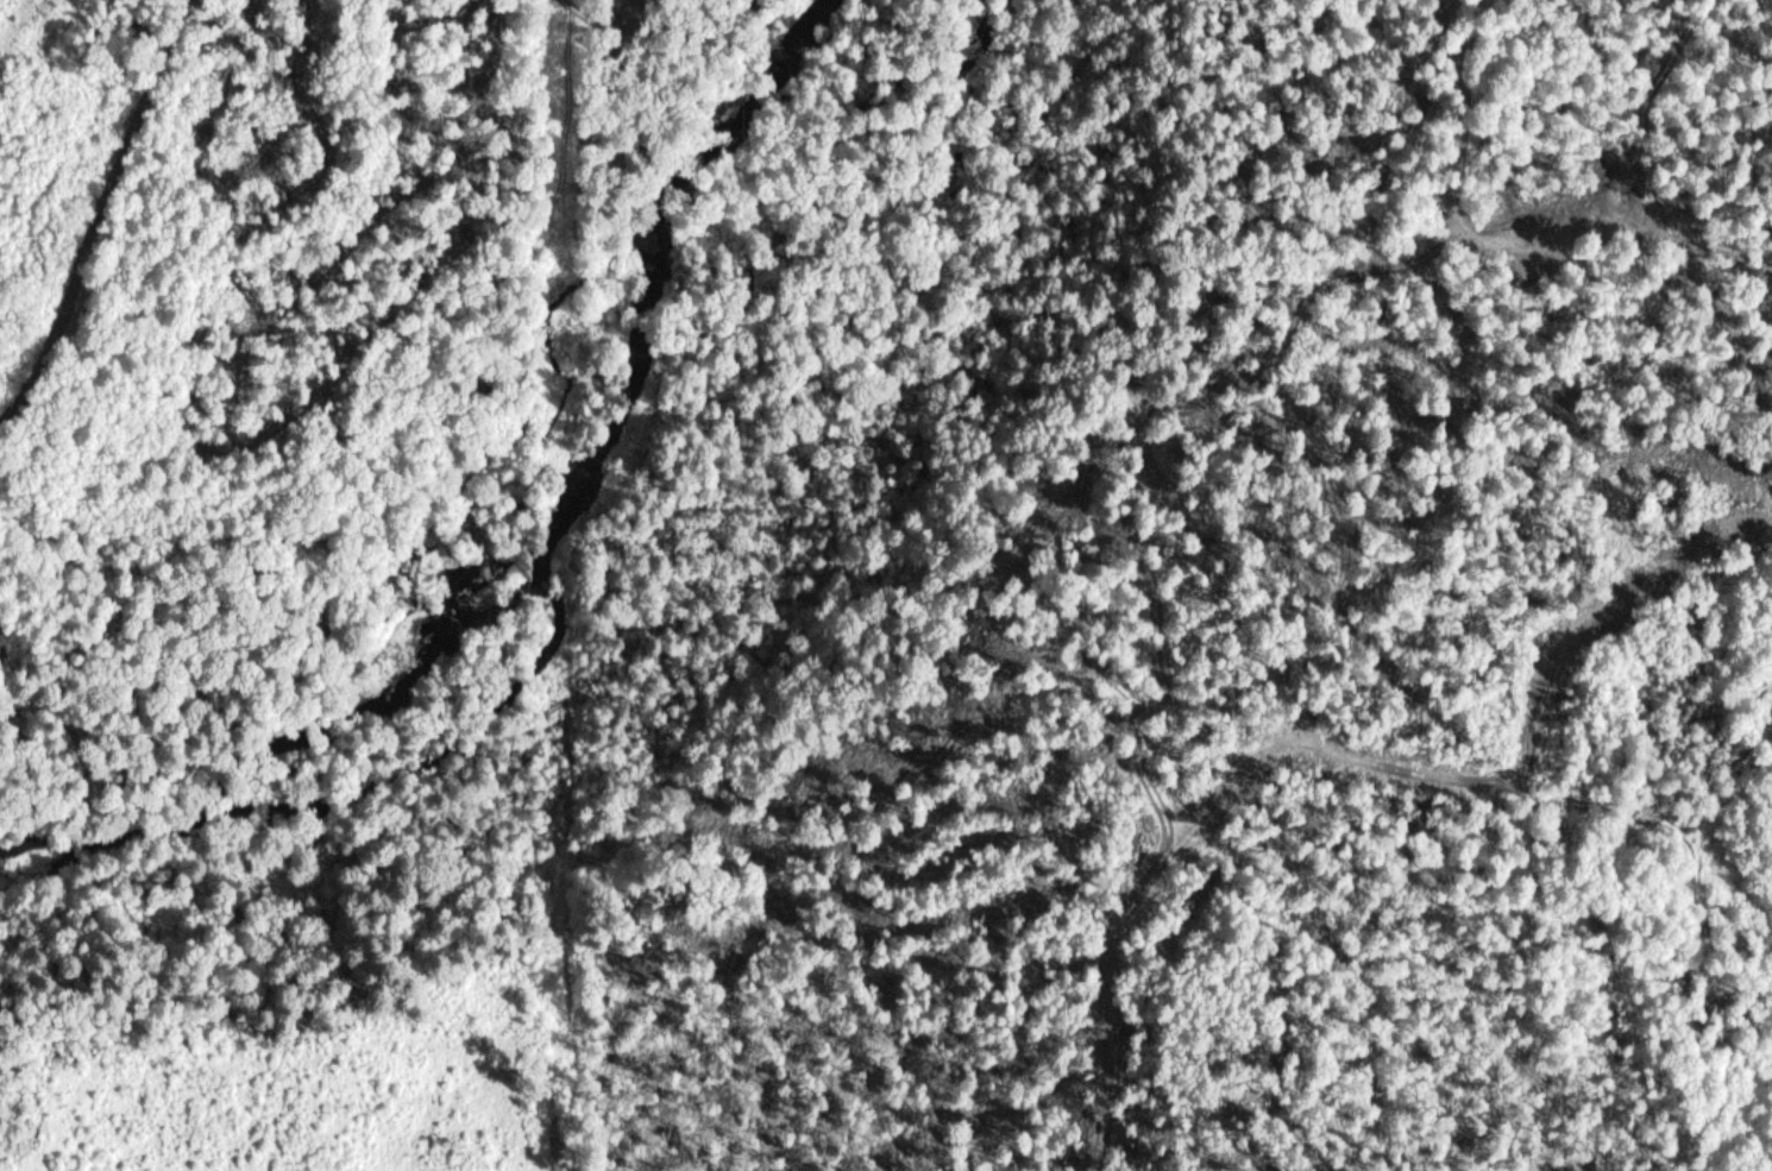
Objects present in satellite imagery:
road: (98, 209)
river: (626, 468)
road: (486, 523)

